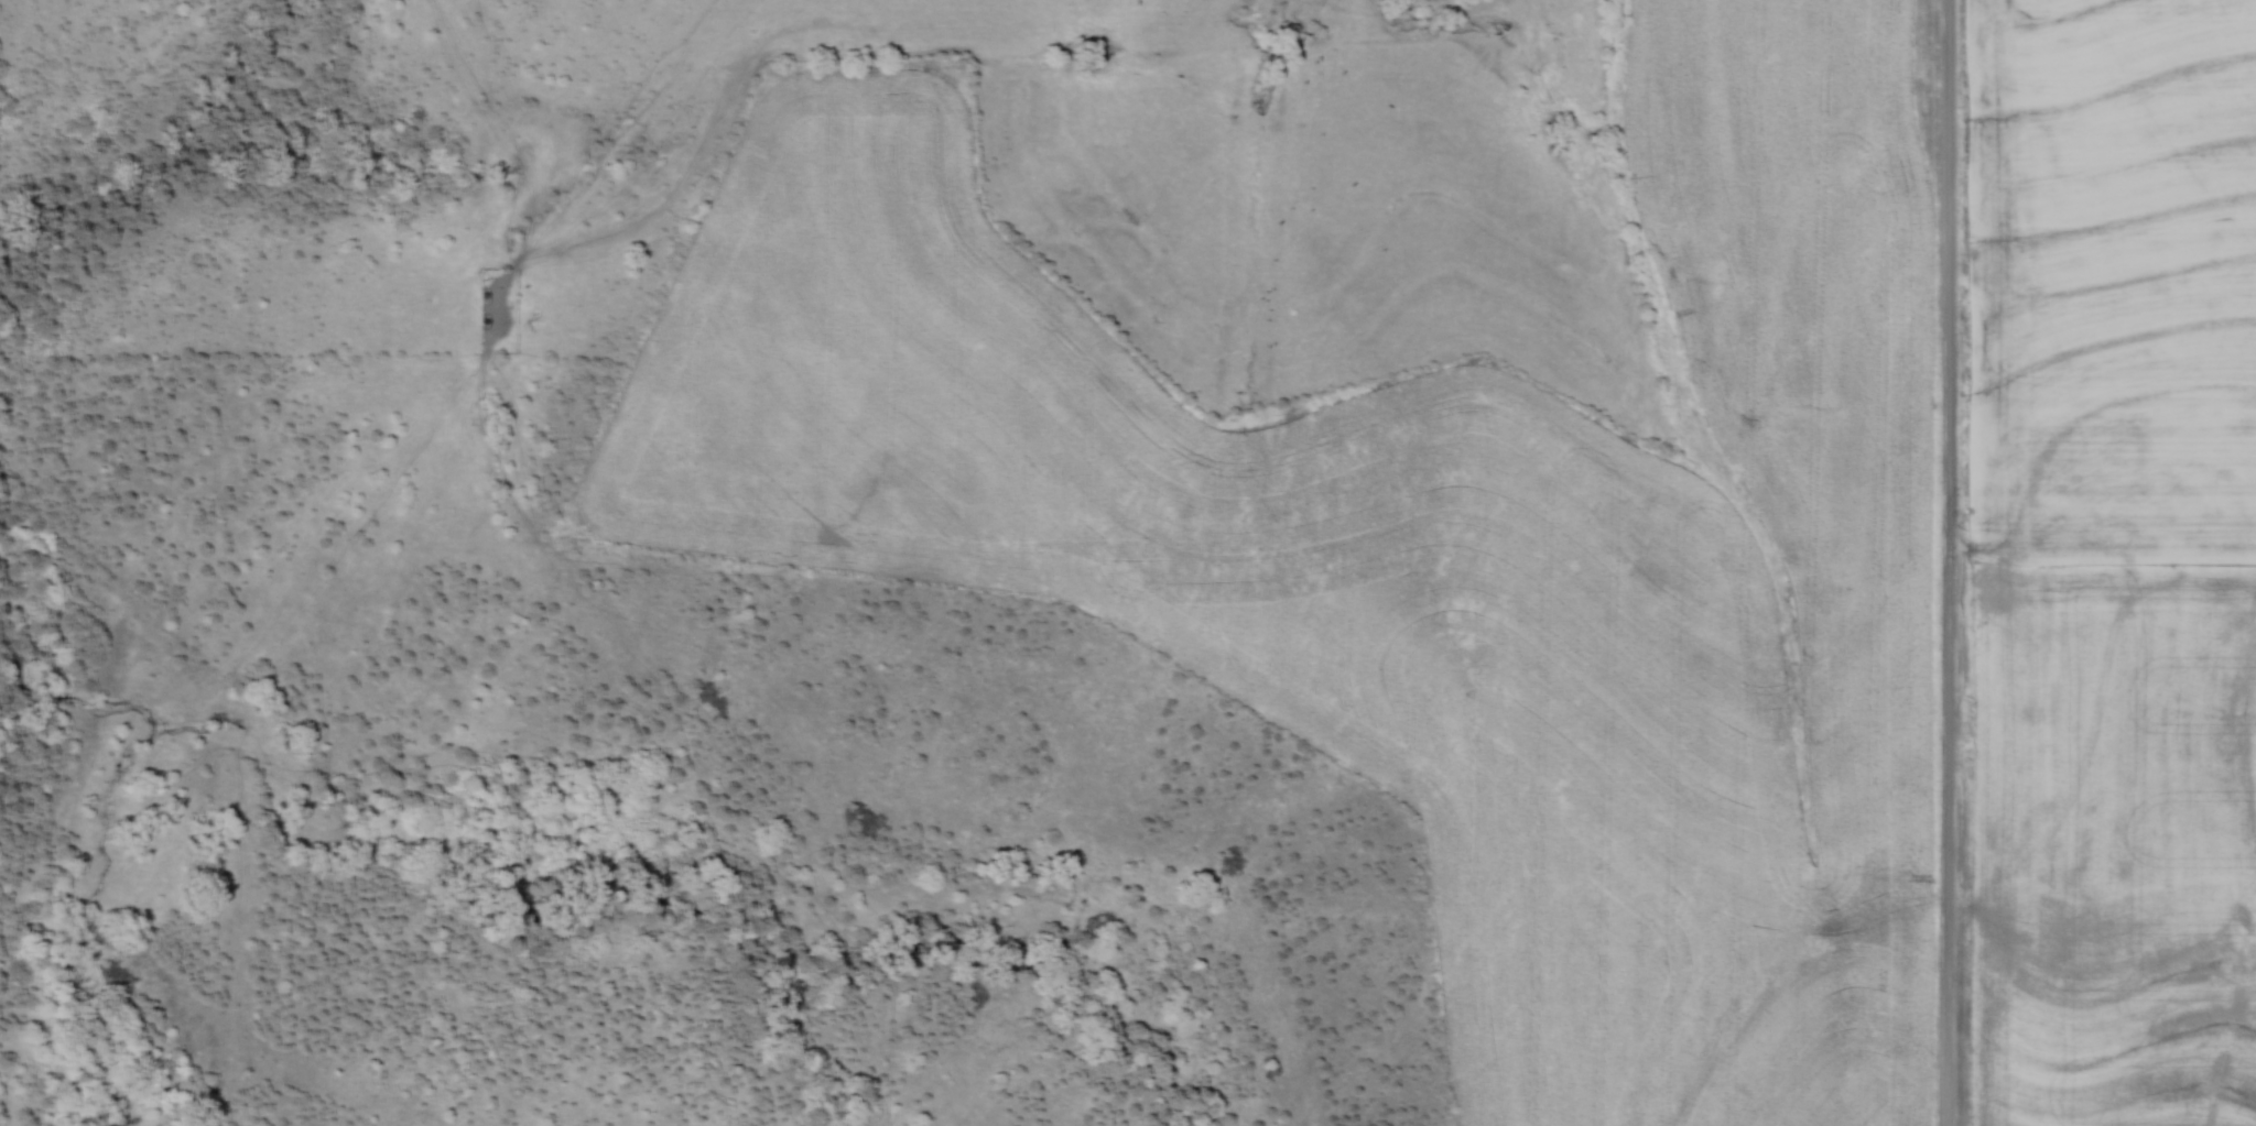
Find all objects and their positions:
road: (1949, 562)

